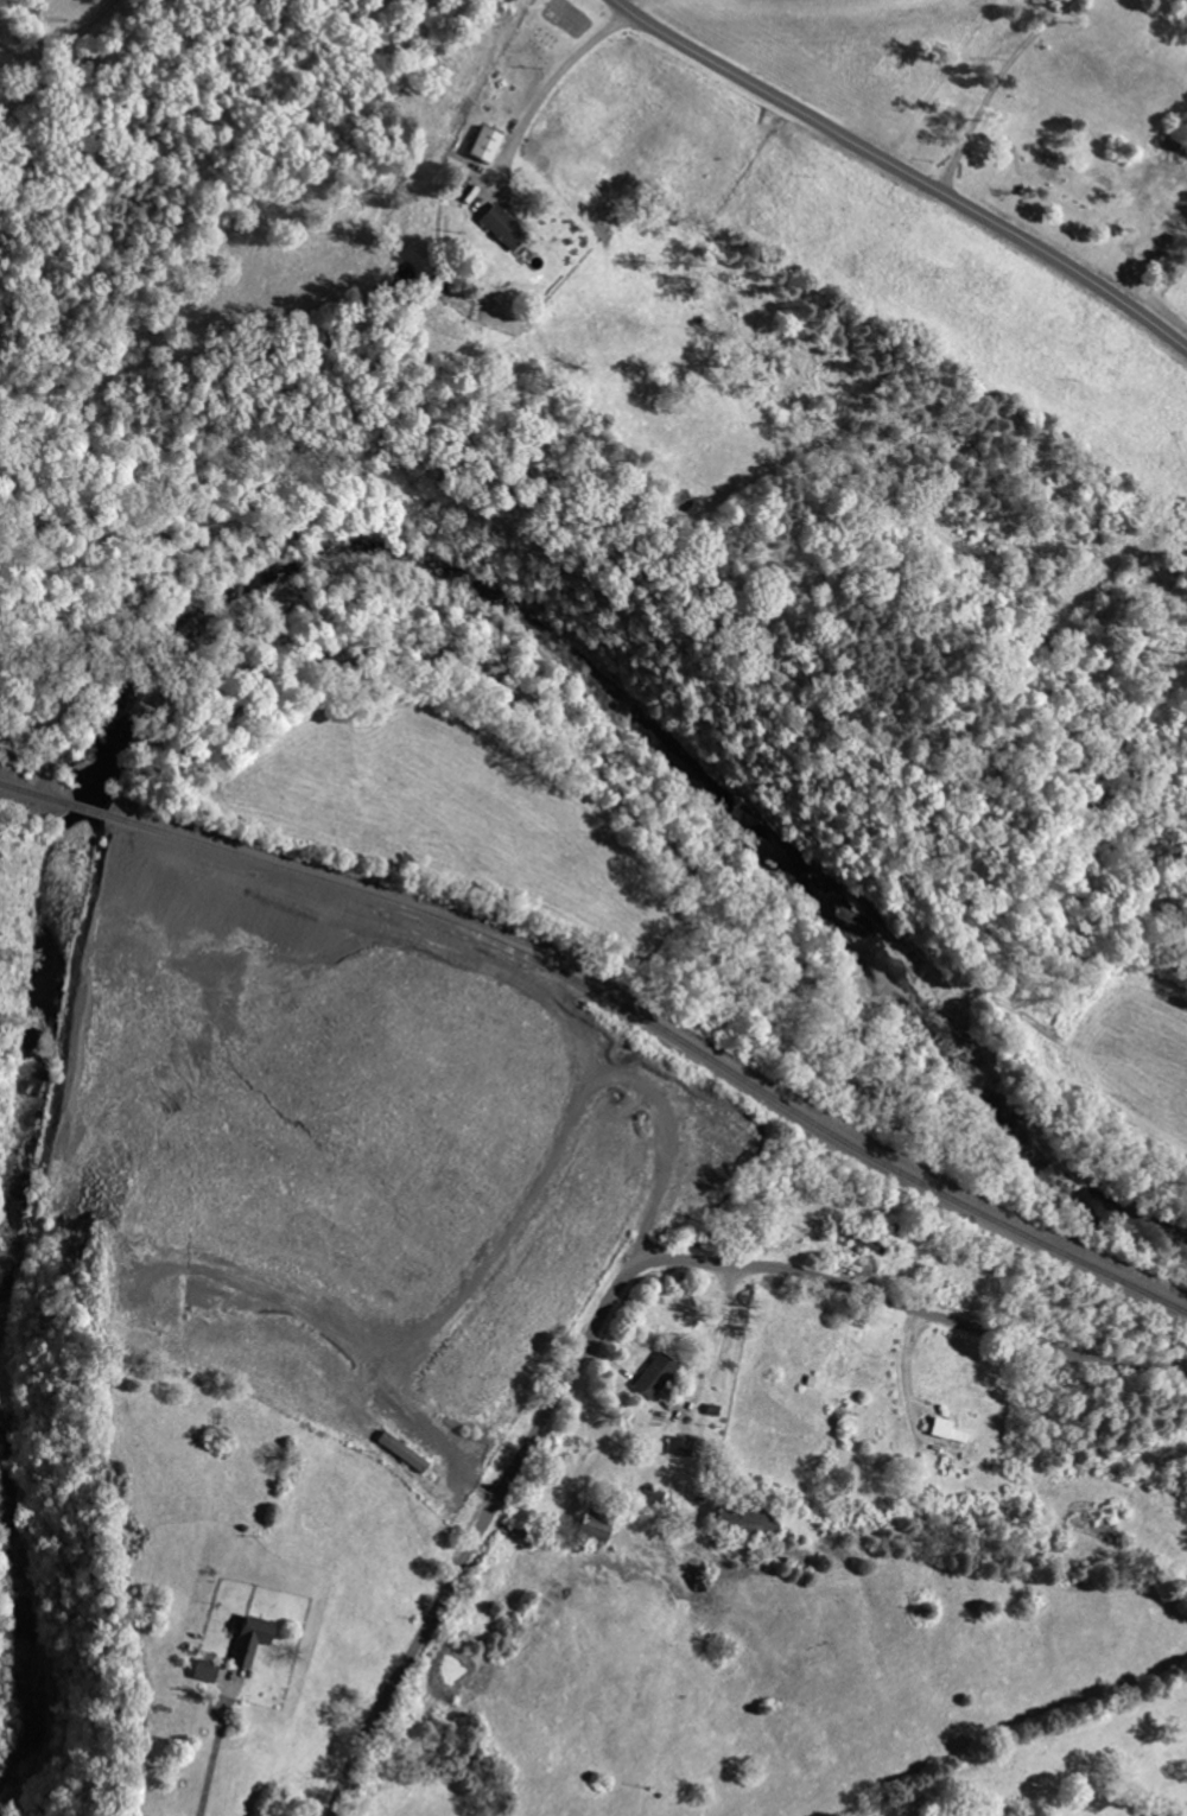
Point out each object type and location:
building: (8, 5)
road: (62, 32)
road: (551, 84)
road: (995, 85)
building: (538, 125)
road: (904, 169)
building: (557, 208)
railway: (32, 790)
railway: (87, 806)
railway: (662, 1026)
road: (615, 1290)
building: (707, 1354)
building: (999, 1409)
building: (732, 1426)
building: (800, 1501)
building: (307, 1619)
building: (260, 1651)
road: (212, 1758)

